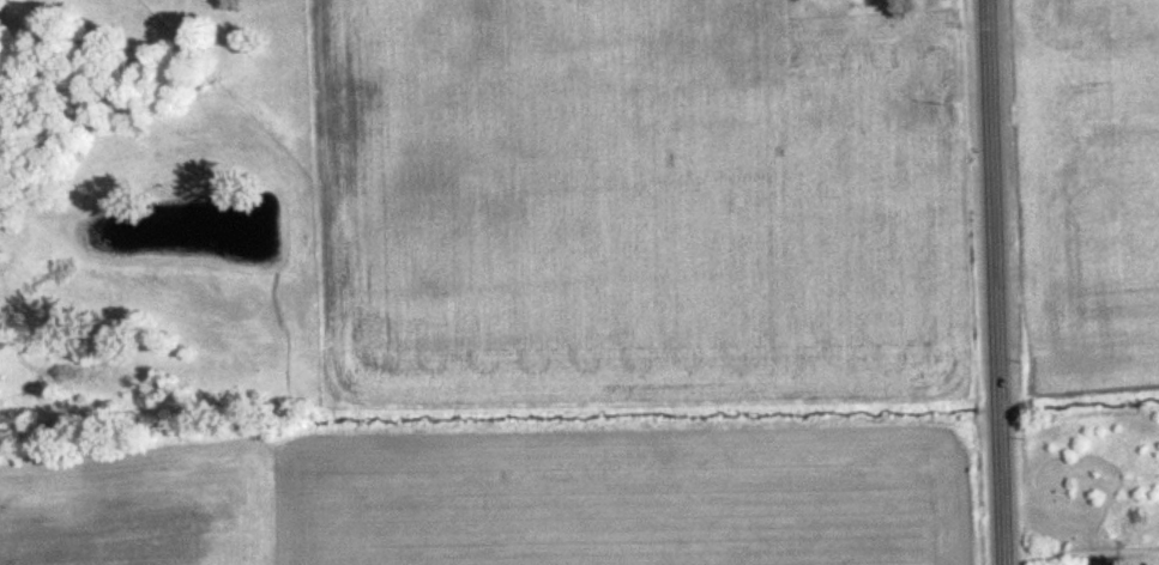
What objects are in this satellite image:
road: (997, 282)

